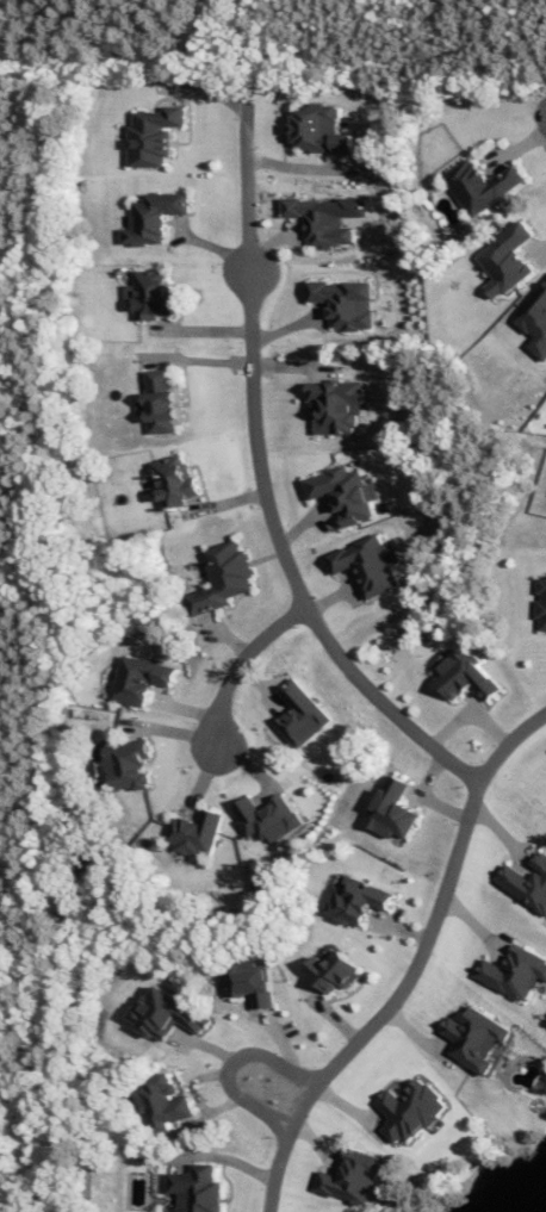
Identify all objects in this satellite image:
road: (201, 88)
building: (322, 132)
building: (153, 136)
road: (516, 145)
road: (300, 167)
building: (479, 187)
building: (156, 216)
building: (322, 222)
road: (269, 244)
road: (212, 245)
road: (539, 251)
building: (507, 259)
building: (151, 294)
building: (345, 300)
building: (539, 306)
road: (285, 328)
road: (200, 329)
road: (196, 359)
road: (292, 365)
building: (161, 400)
building: (335, 406)
building: (176, 479)
road: (265, 485)
building: (346, 490)
road: (223, 501)
road: (300, 522)
building: (371, 561)
building: (225, 573)
road: (330, 596)
building: (542, 604)
road: (225, 636)
road: (242, 665)
building: (144, 675)
building: (471, 675)
road: (259, 685)
road: (470, 707)
building: (296, 709)
road: (185, 710)
road: (168, 731)
building: (128, 762)
road: (246, 763)
road: (201, 779)
road: (422, 796)
building: (395, 810)
building: (271, 816)
building: (197, 831)
road: (498, 832)
building: (544, 857)
building: (525, 876)
building: (358, 899)
road: (470, 918)
road: (399, 926)
building: (516, 955)
road: (414, 967)
building: (330, 974)
building: (252, 984)
building: (160, 1009)
road: (334, 1017)
road: (414, 1037)
building: (472, 1037)
road: (224, 1039)
road: (283, 1039)
road: (229, 1062)
road: (199, 1098)
road: (347, 1104)
building: (165, 1106)
building: (407, 1110)
road: (316, 1139)
road: (225, 1156)
building: (349, 1174)
building: (198, 1191)

